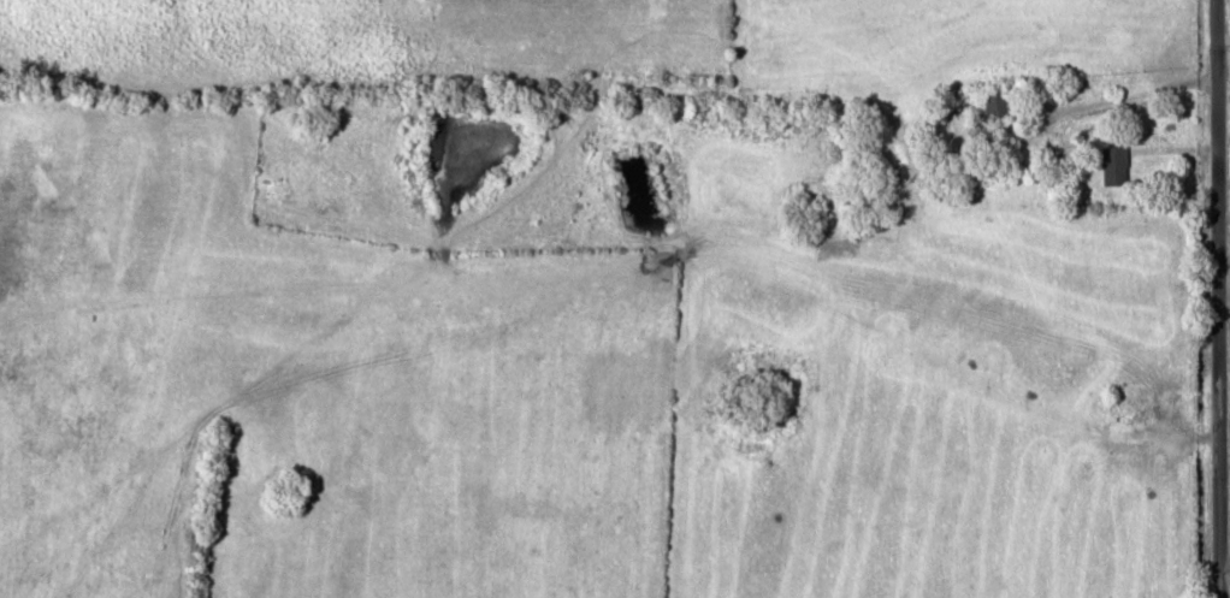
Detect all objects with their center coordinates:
building: (1000, 103)
building: (1118, 165)

